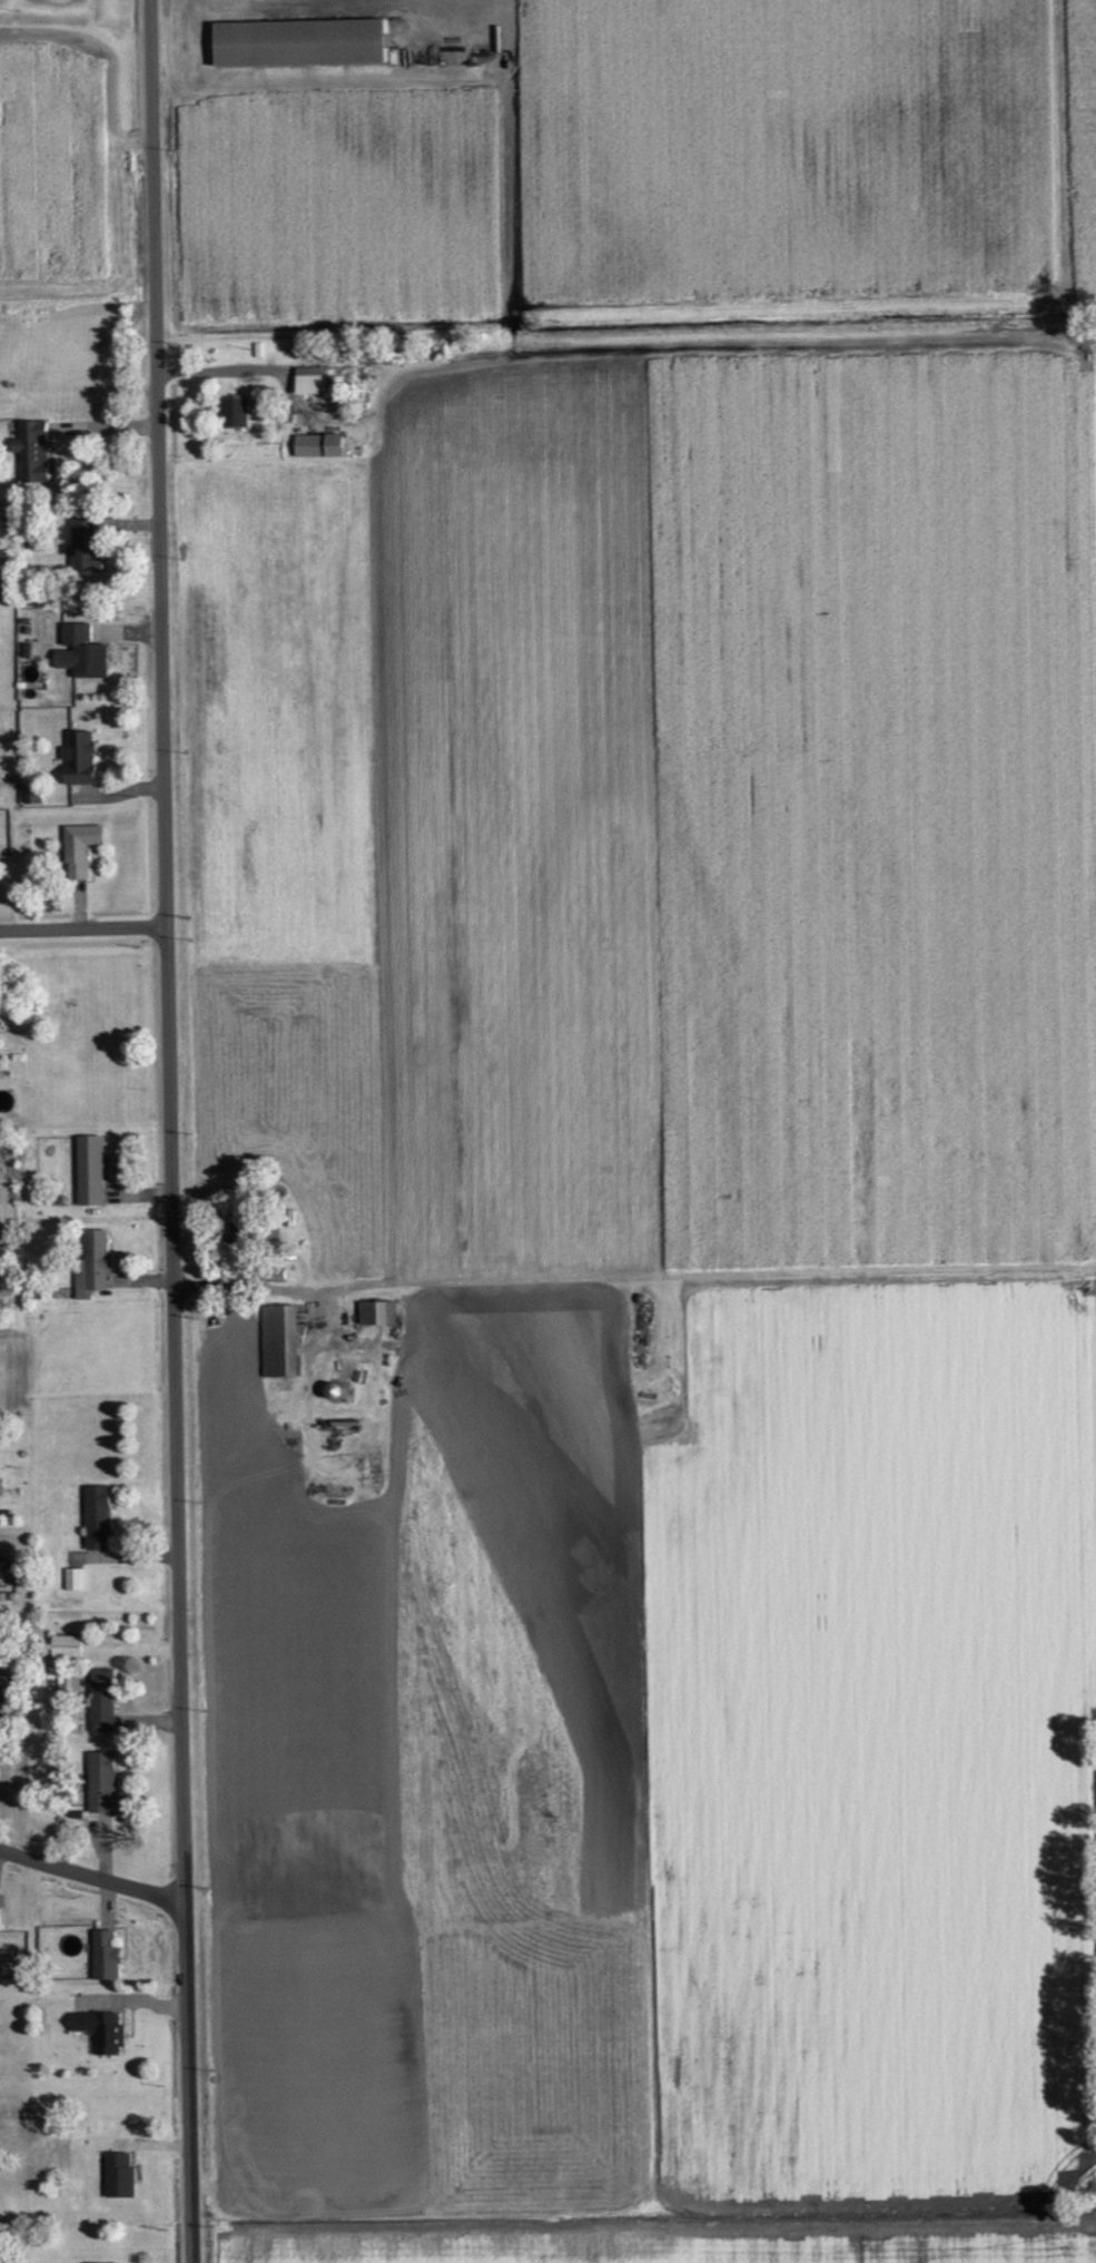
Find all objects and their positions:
building: (298, 43)
building: (310, 382)
building: (235, 413)
building: (317, 446)
building: (33, 452)
building: (85, 544)
building: (81, 653)
building: (81, 760)
building: (80, 850)
road: (82, 928)
road: (169, 1131)
building: (91, 1170)
building: (95, 1266)
road: (274, 1286)
building: (377, 1313)
building: (279, 1341)
building: (332, 1391)
building: (98, 1518)
building: (73, 1580)
building: (66, 1646)
building: (6, 1691)
building: (102, 1701)
building: (101, 1781)
road: (91, 1875)
building: (107, 1957)
building: (101, 2031)
building: (119, 2176)

